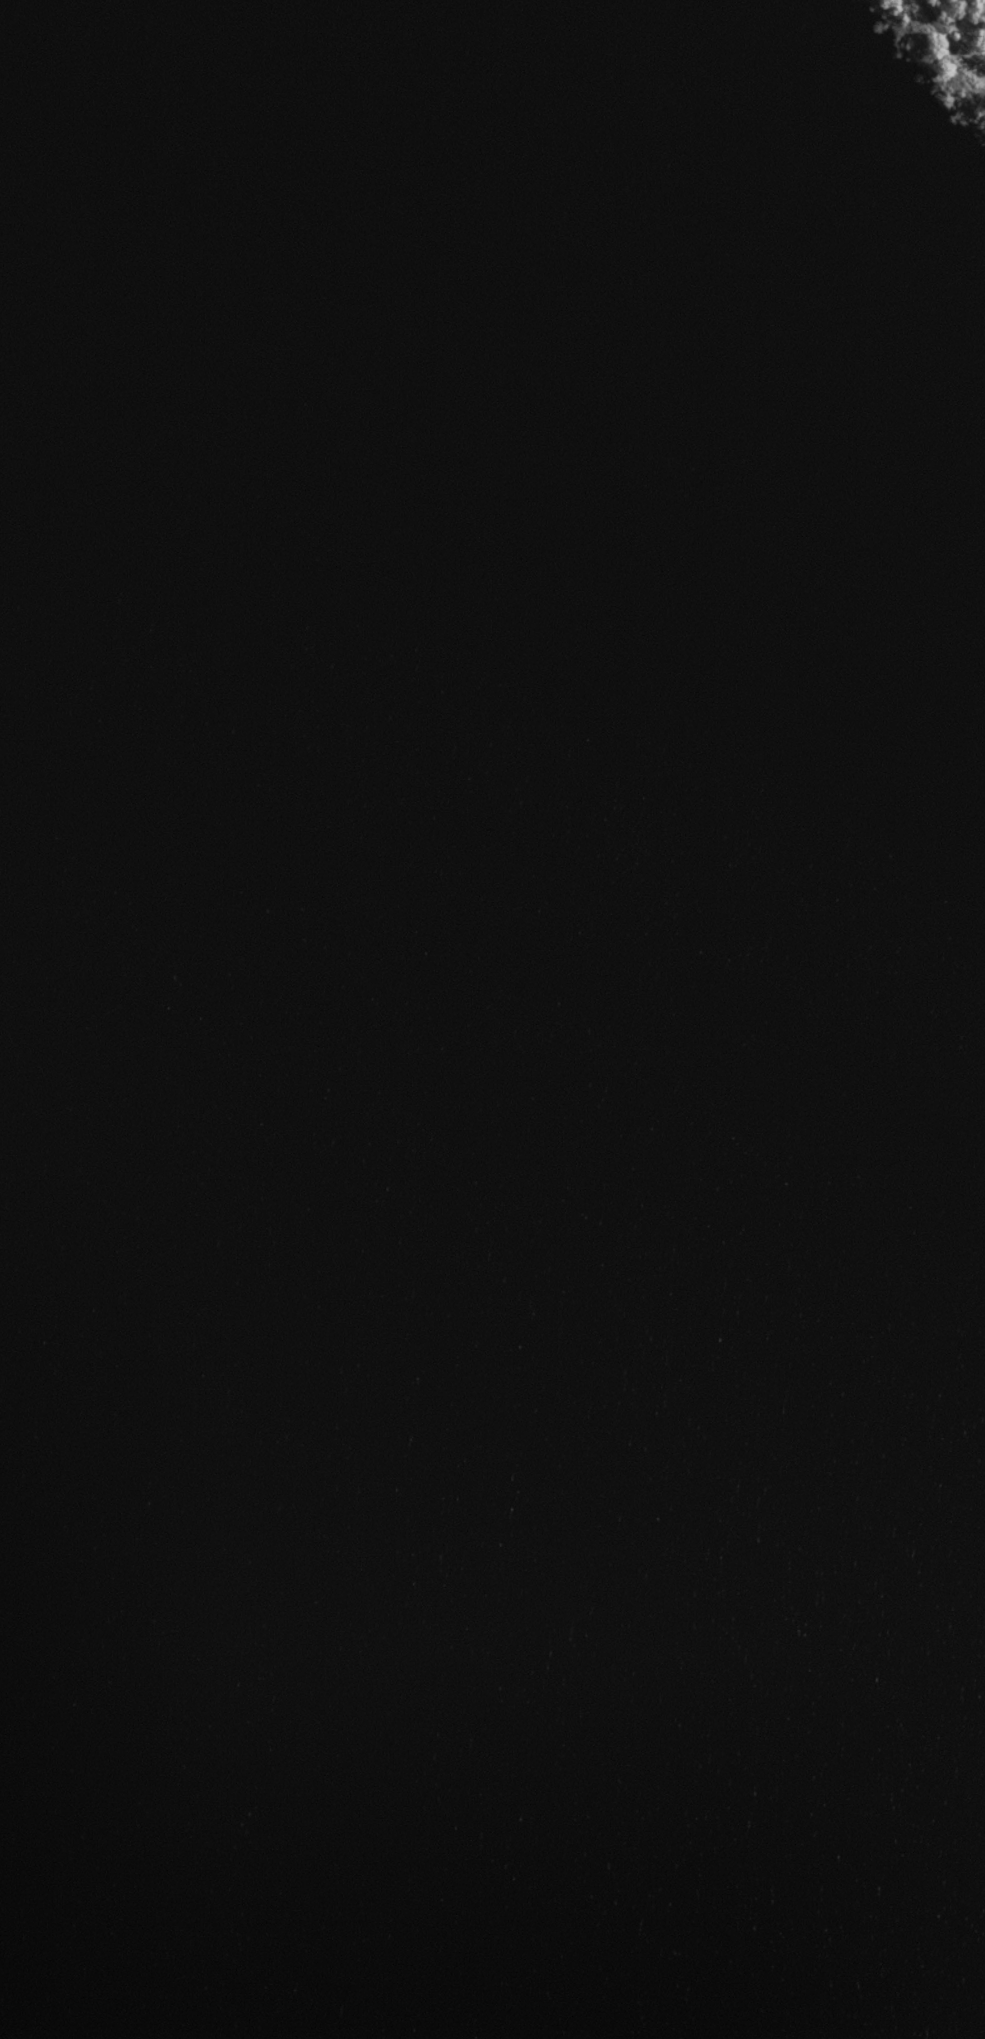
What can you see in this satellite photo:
road: (943, 43)
river: (492, 1531)

